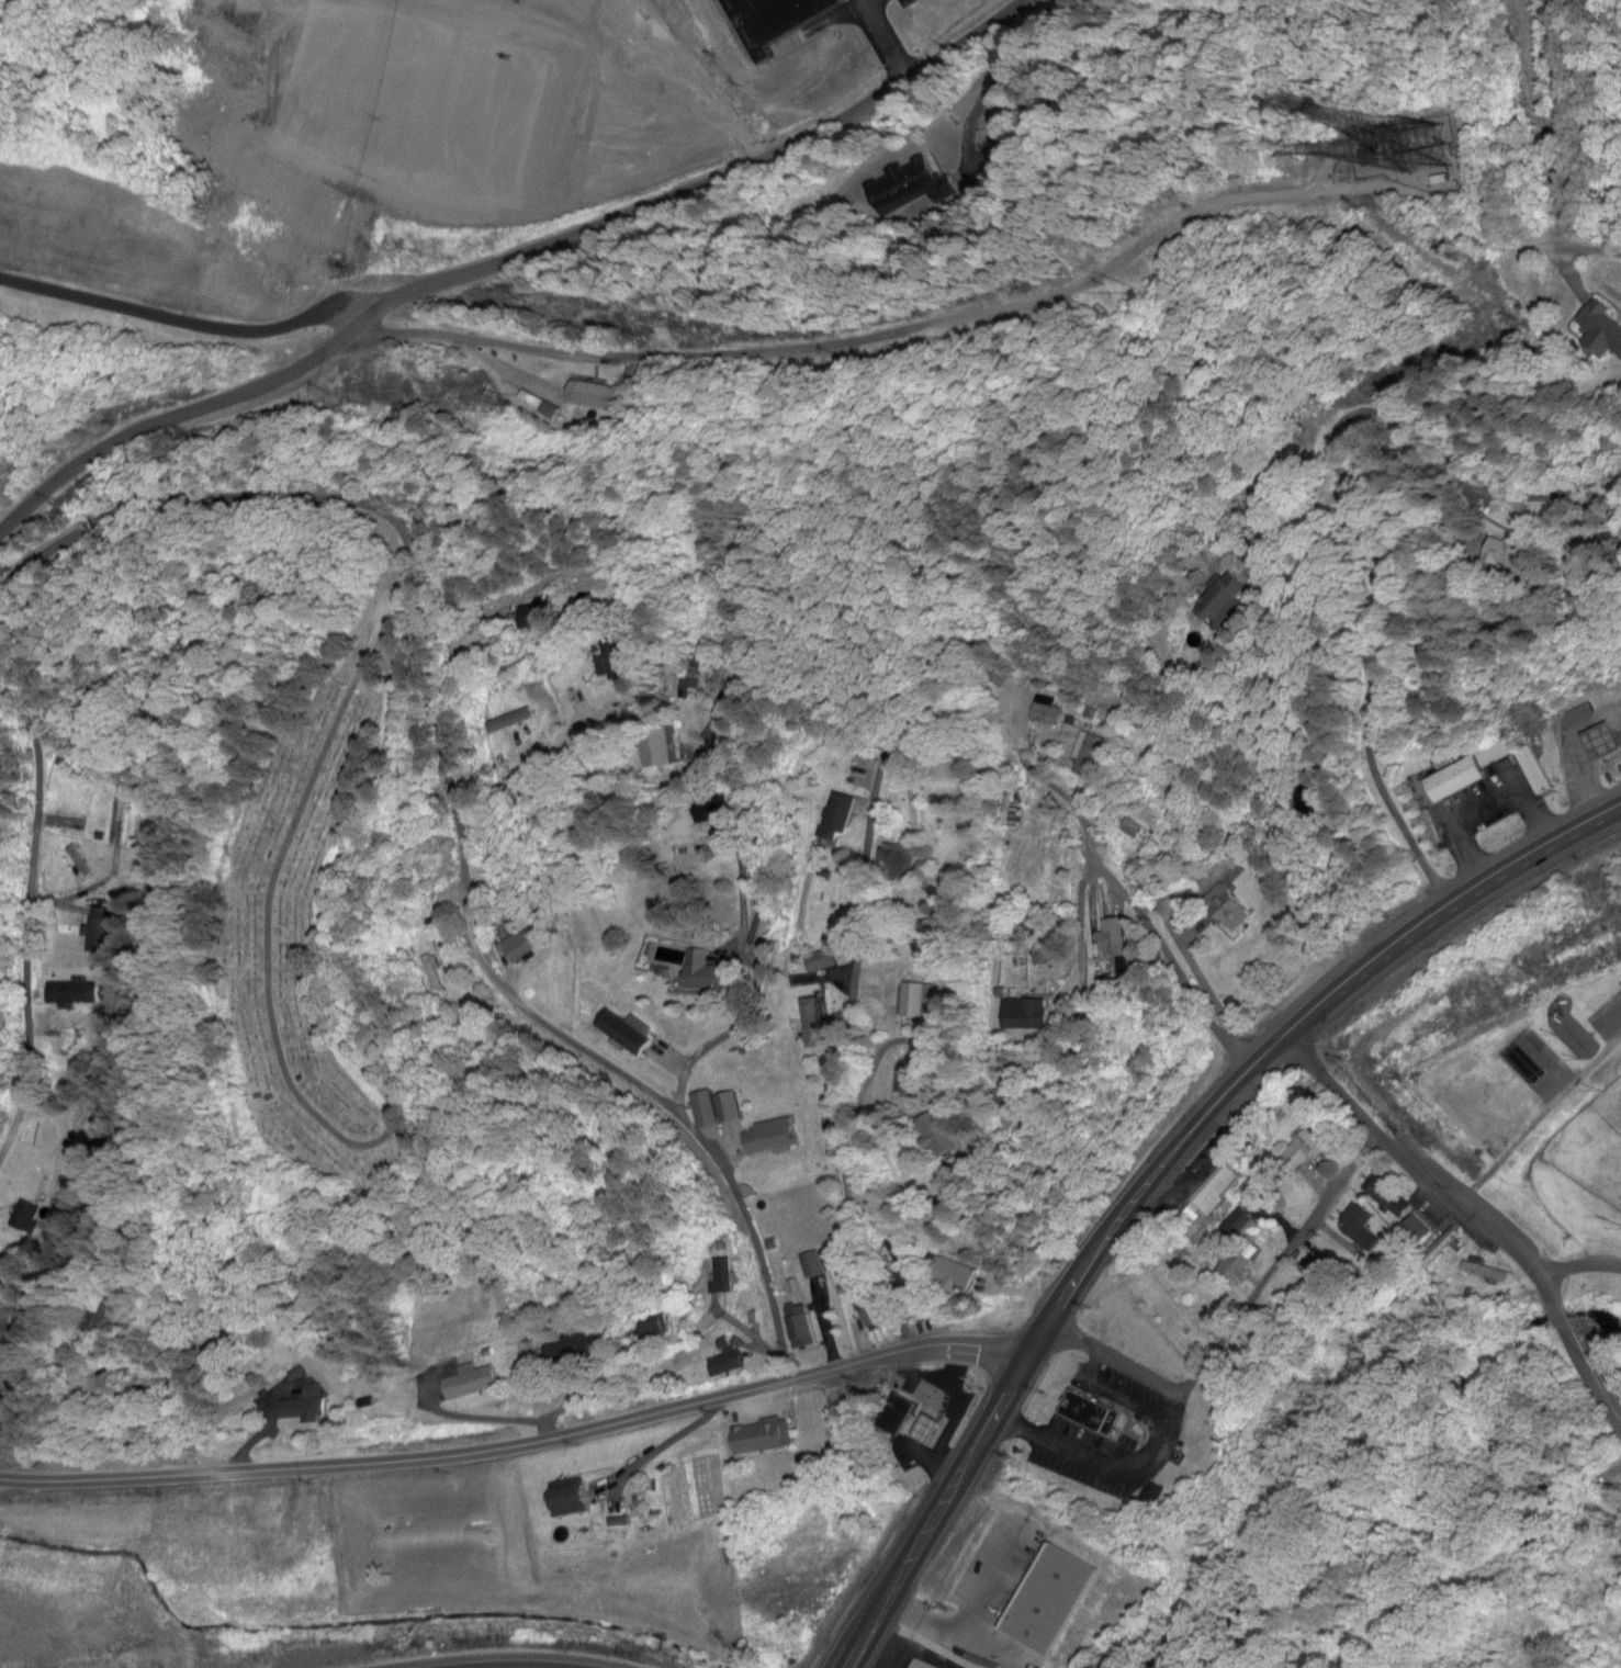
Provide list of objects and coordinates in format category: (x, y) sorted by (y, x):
road: (868, 0)
building: (781, 21)
road: (888, 41)
building: (1374, 157)
building: (908, 187)
road: (1581, 252)
road: (509, 263)
road: (970, 318)
road: (181, 322)
building: (1605, 329)
building: (595, 397)
road: (1366, 520)
building: (1515, 556)
building: (1219, 604)
building: (537, 618)
road: (405, 619)
building: (707, 631)
building: (606, 661)
building: (998, 670)
building: (1046, 713)
building: (1597, 745)
building: (662, 748)
building: (1089, 756)
building: (1418, 764)
building: (1462, 775)
road: (452, 800)
building: (717, 813)
building: (834, 819)
road: (552, 848)
building: (899, 865)
road: (1113, 884)
building: (1228, 908)
road: (25, 921)
building: (101, 929)
building: (764, 932)
park: (307, 943)
building: (522, 945)
building: (820, 961)
building: (708, 973)
road: (854, 974)
building: (74, 991)
building: (918, 1000)
building: (1027, 1014)
building: (812, 1023)
road: (1298, 1028)
building: (626, 1032)
building: (911, 1083)
building: (729, 1107)
road: (955, 1119)
road: (1540, 1124)
building: (938, 1135)
building: (772, 1138)
park: (1594, 1143)
building: (1305, 1151)
building: (1263, 1175)
building: (1214, 1193)
building: (1388, 1201)
road: (1468, 1214)
building: (27, 1218)
building: (1360, 1226)
building: (1417, 1227)
building: (1441, 1248)
building: (812, 1264)
building: (902, 1266)
road: (1578, 1267)
building: (1318, 1269)
building: (1487, 1272)
building: (954, 1274)
building: (721, 1276)
building: (869, 1314)
building: (95, 1319)
road: (1238, 1322)
building: (800, 1327)
building: (574, 1349)
building: (728, 1359)
building: (134, 1382)
building: (471, 1383)
building: (305, 1407)
building: (1091, 1413)
building: (911, 1419)
building: (762, 1436)
road: (521, 1444)
road: (22, 1488)
road: (953, 1497)
building: (570, 1498)
building: (1015, 1579)
building: (922, 1665)
road: (529, 1666)

